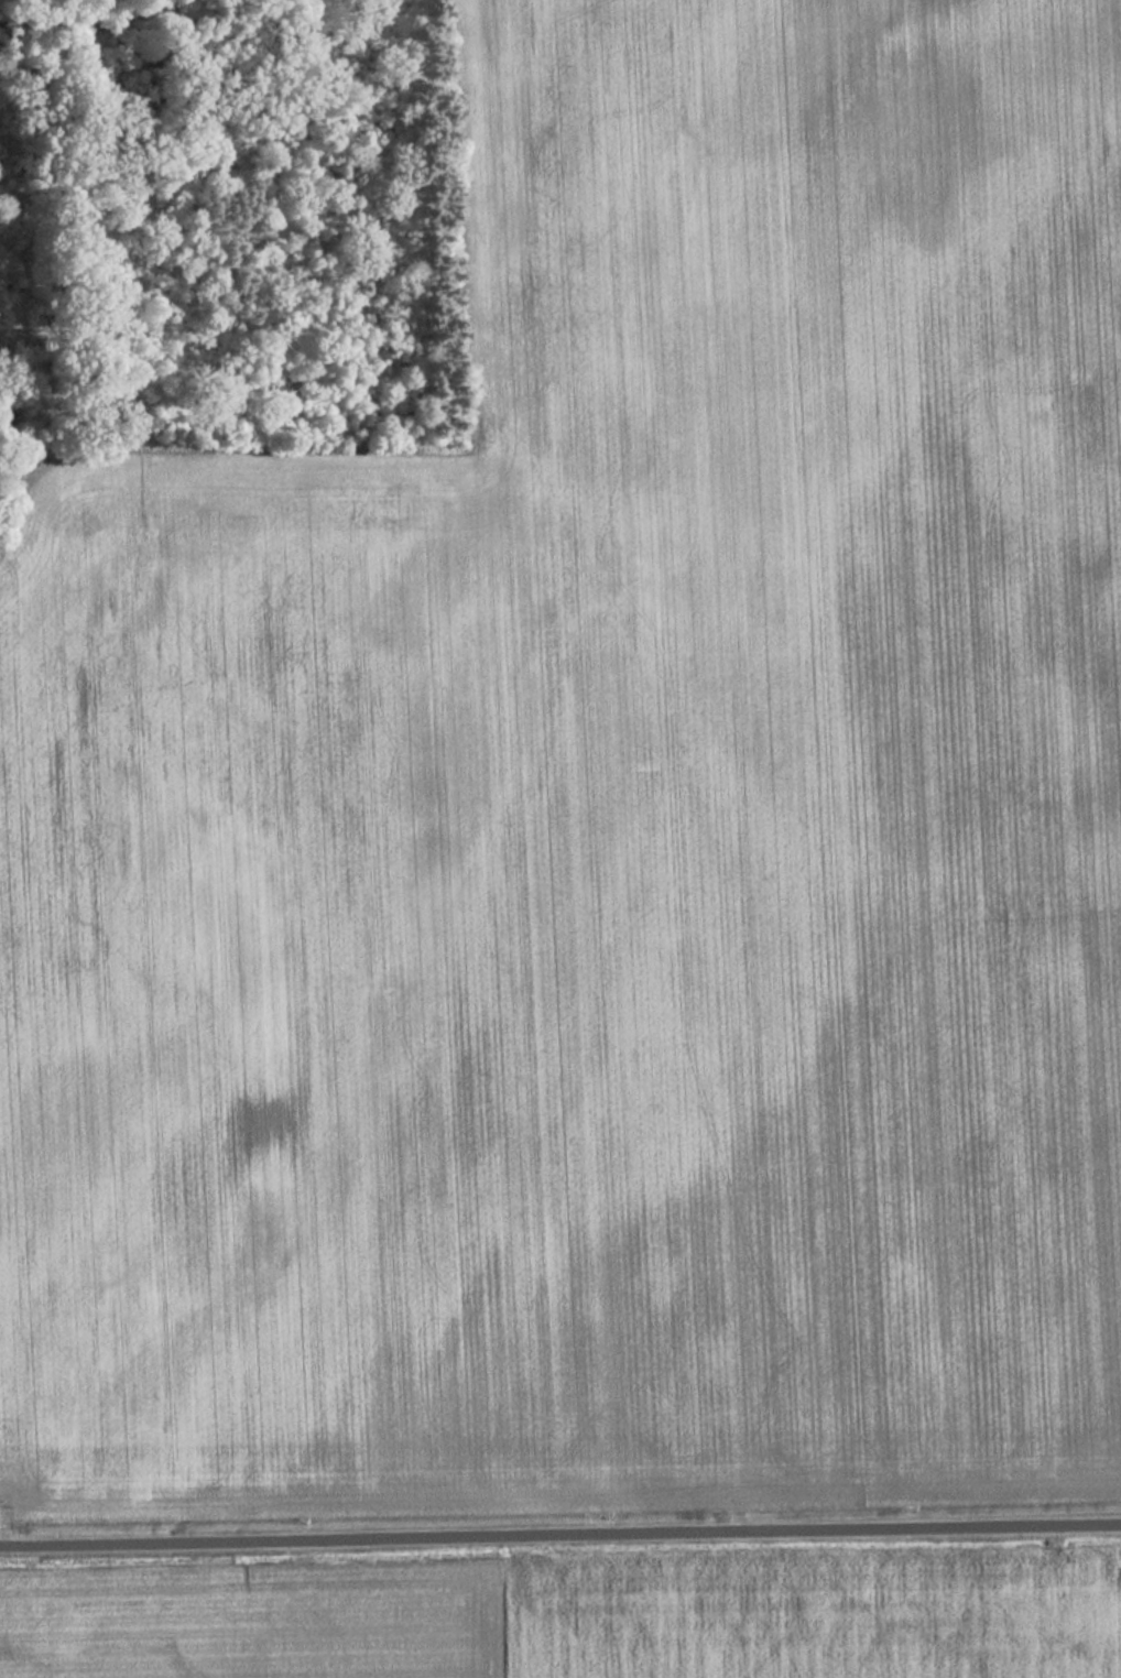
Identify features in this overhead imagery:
crop: (602, 828)
road: (559, 1536)
crop: (814, 1617)
crop: (251, 1623)

